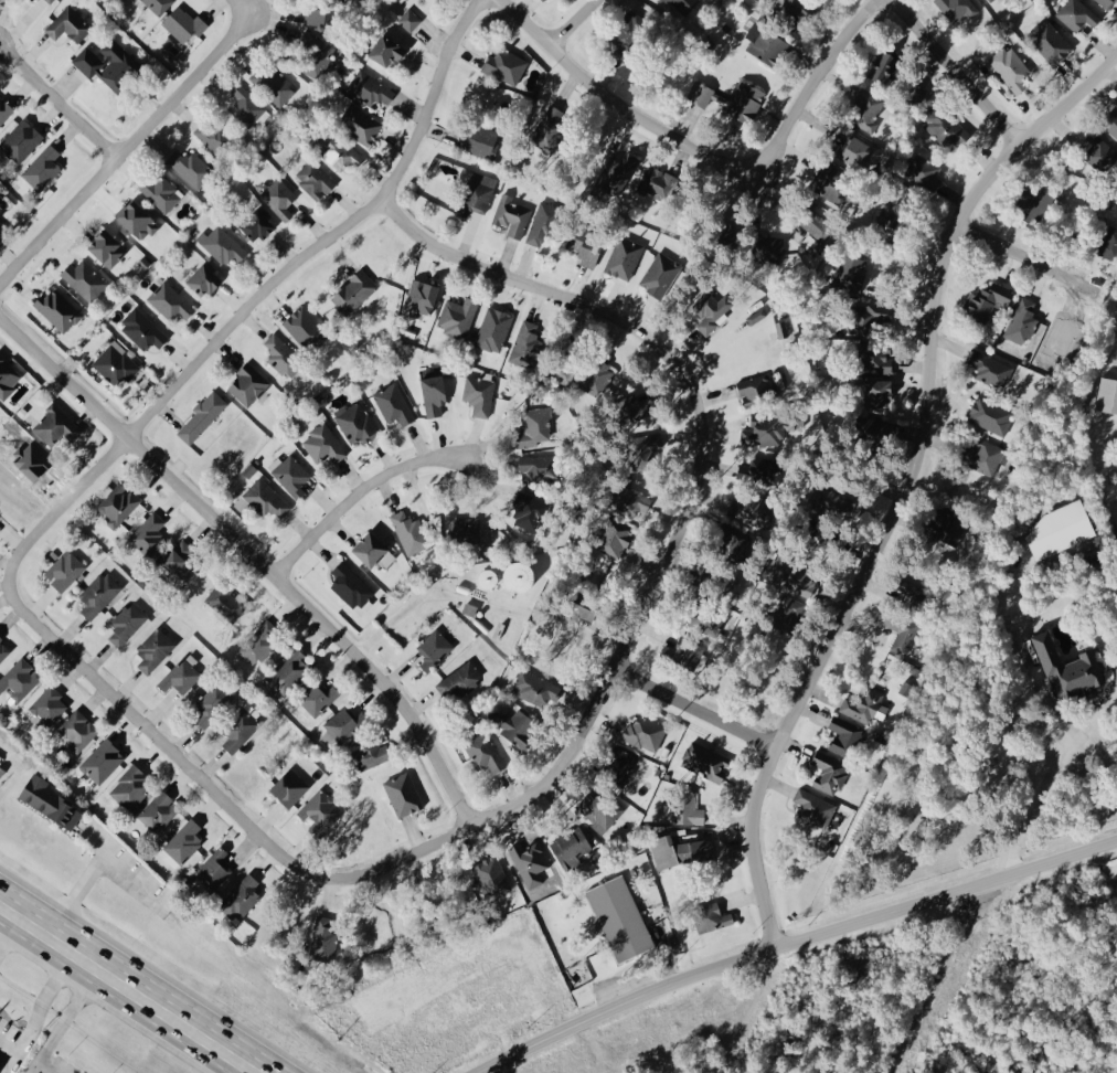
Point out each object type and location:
building: (33, 0)
building: (49, 0)
building: (543, 0)
building: (989, 0)
building: (1107, 2)
road: (249, 4)
building: (683, 4)
building: (158, 6)
building: (957, 8)
building: (796, 10)
building: (321, 13)
building: (1076, 14)
building: (408, 20)
road: (574, 23)
building: (68, 24)
building: (183, 24)
building: (626, 34)
building: (1050, 42)
building: (765, 43)
building: (386, 50)
building: (313, 54)
building: (108, 64)
building: (506, 65)
building: (882, 66)
building: (1011, 68)
road: (957, 70)
building: (273, 85)
building: (370, 88)
building: (699, 93)
road: (60, 99)
building: (744, 99)
building: (245, 106)
building: (868, 109)
building: (4, 110)
building: (360, 123)
building: (1110, 124)
building: (546, 125)
building: (946, 126)
building: (213, 134)
building: (21, 140)
building: (481, 140)
road: (127, 147)
road: (708, 150)
building: (1100, 150)
building: (855, 151)
building: (339, 152)
building: (190, 167)
building: (42, 168)
building: (924, 171)
building: (313, 180)
building: (829, 181)
building: (657, 183)
building: (161, 193)
building: (477, 194)
building: (279, 199)
building: (511, 215)
building: (137, 220)
building: (542, 223)
building: (257, 224)
building: (817, 225)
building: (893, 226)
building: (3, 233)
road: (329, 234)
building: (809, 242)
building: (1109, 244)
building: (222, 245)
building: (585, 245)
building: (768, 247)
road: (1017, 247)
building: (107, 248)
building: (624, 257)
building: (850, 273)
building: (660, 274)
building: (84, 279)
building: (203, 280)
building: (353, 291)
building: (421, 296)
building: (987, 300)
building: (170, 301)
building: (57, 310)
building: (712, 310)
building: (457, 316)
building: (756, 316)
building: (871, 317)
building: (1020, 322)
building: (305, 329)
building: (493, 329)
building: (781, 329)
building: (142, 330)
building: (526, 346)
building: (283, 357)
building: (877, 359)
building: (116, 364)
building: (990, 369)
building: (565, 373)
building: (597, 378)
building: (6, 379)
building: (247, 385)
building: (754, 389)
building: (877, 393)
building: (434, 394)
building: (478, 395)
building: (1107, 395)
building: (393, 404)
building: (639, 411)
building: (990, 415)
building: (201, 417)
building: (355, 423)
building: (56, 426)
building: (534, 427)
building: (871, 428)
building: (764, 431)
building: (323, 445)
building: (645, 450)
building: (982, 456)
building: (536, 468)
building: (760, 470)
building: (289, 475)
road: (908, 482)
road: (358, 493)
building: (266, 499)
building: (628, 501)
building: (832, 501)
building: (118, 504)
building: (529, 509)
building: (749, 510)
building: (946, 525)
building: (1060, 530)
building: (469, 531)
building: (408, 533)
building: (149, 534)
building: (615, 536)
building: (733, 540)
building: (373, 552)
road: (252, 554)
building: (181, 560)
building: (64, 570)
building: (792, 574)
building: (350, 586)
building: (98, 595)
building: (223, 601)
building: (587, 607)
building: (786, 613)
building: (127, 624)
building: (900, 631)
building: (259, 642)
building: (682, 647)
building: (433, 649)
building: (3, 650)
building: (153, 650)
building: (1070, 671)
building: (288, 672)
building: (181, 676)
building: (20, 679)
building: (458, 680)
building: (534, 689)
building: (317, 698)
building: (211, 703)
building: (49, 704)
road: (698, 705)
building: (864, 707)
building: (342, 725)
building: (514, 725)
building: (240, 730)
building: (77, 731)
building: (645, 733)
building: (842, 736)
road: (1095, 747)
building: (483, 752)
building: (370, 753)
building: (102, 762)
building: (705, 762)
building: (618, 765)
building: (829, 773)
building: (130, 787)
building: (289, 788)
road: (1046, 793)
building: (403, 795)
road: (519, 796)
building: (49, 803)
building: (813, 807)
building: (599, 809)
building: (688, 809)
building: (320, 810)
building: (158, 811)
building: (182, 843)
building: (571, 848)
building: (681, 851)
building: (597, 857)
building: (214, 868)
building: (492, 878)
road: (79, 881)
road: (126, 881)
building: (240, 899)
building: (711, 917)
building: (620, 918)
road: (6, 927)
building: (322, 939)
road: (790, 942)
road: (945, 979)
road: (517, 988)
road: (126, 990)
road: (35, 1011)
road: (444, 1023)
road: (60, 1024)
road: (194, 1058)
road: (11, 1062)
building: (1, 1069)

